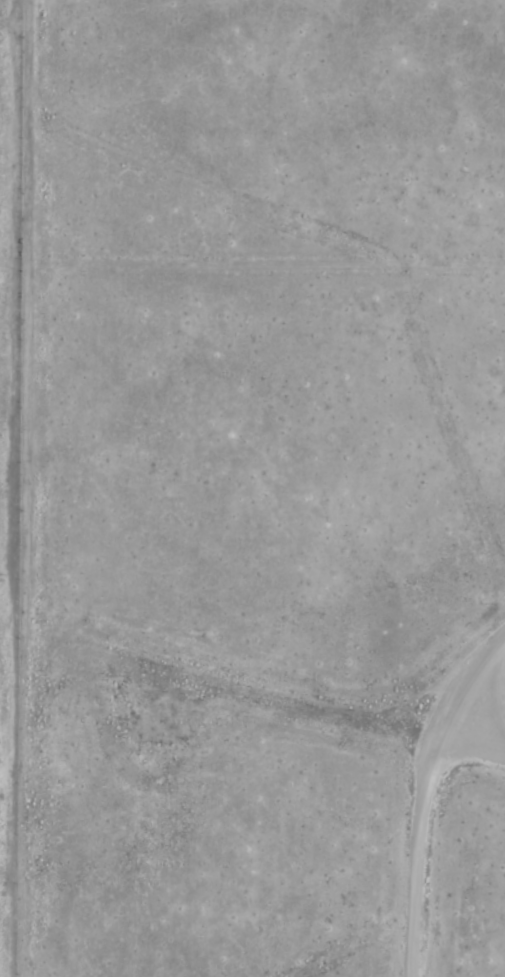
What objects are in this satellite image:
road: (308, 708)
wind turbine: (166, 721)
road: (419, 789)

